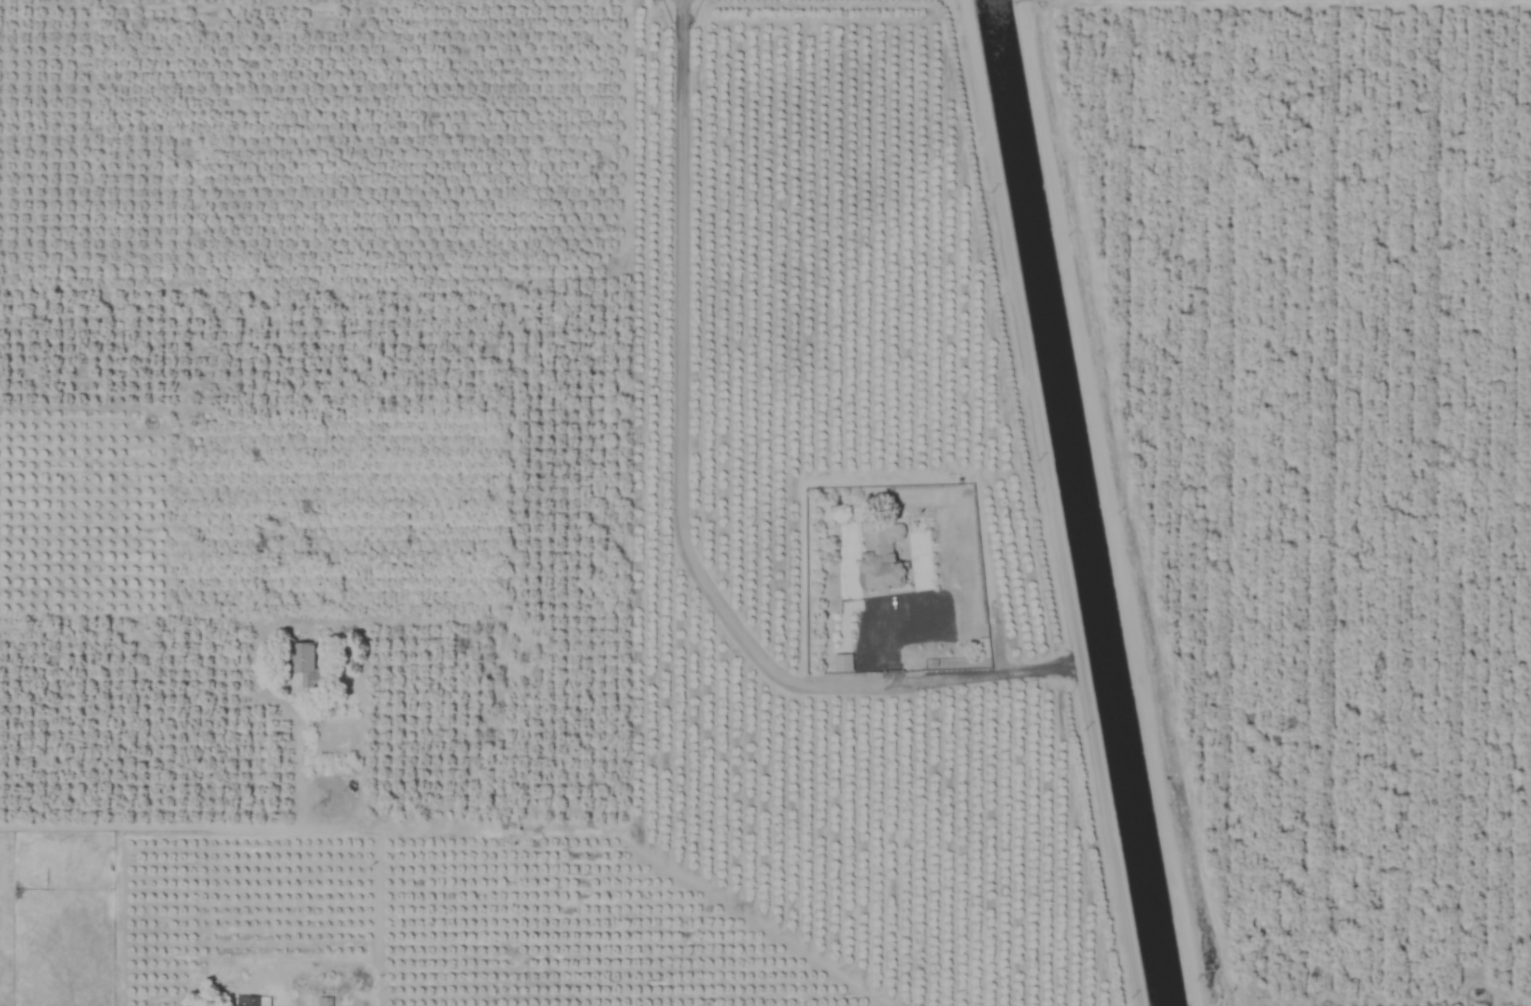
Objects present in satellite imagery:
road: (679, 500)
building: (882, 557)
building: (907, 623)
building: (842, 662)
building: (308, 665)
road: (198, 824)
building: (253, 1001)
building: (324, 1001)

